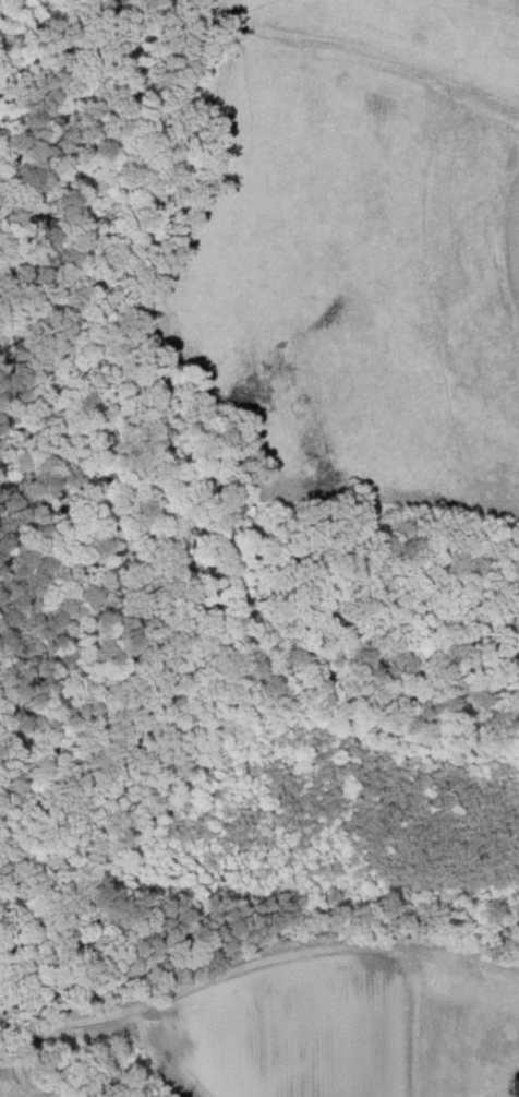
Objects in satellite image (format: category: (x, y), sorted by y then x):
building: (514, 1087)

